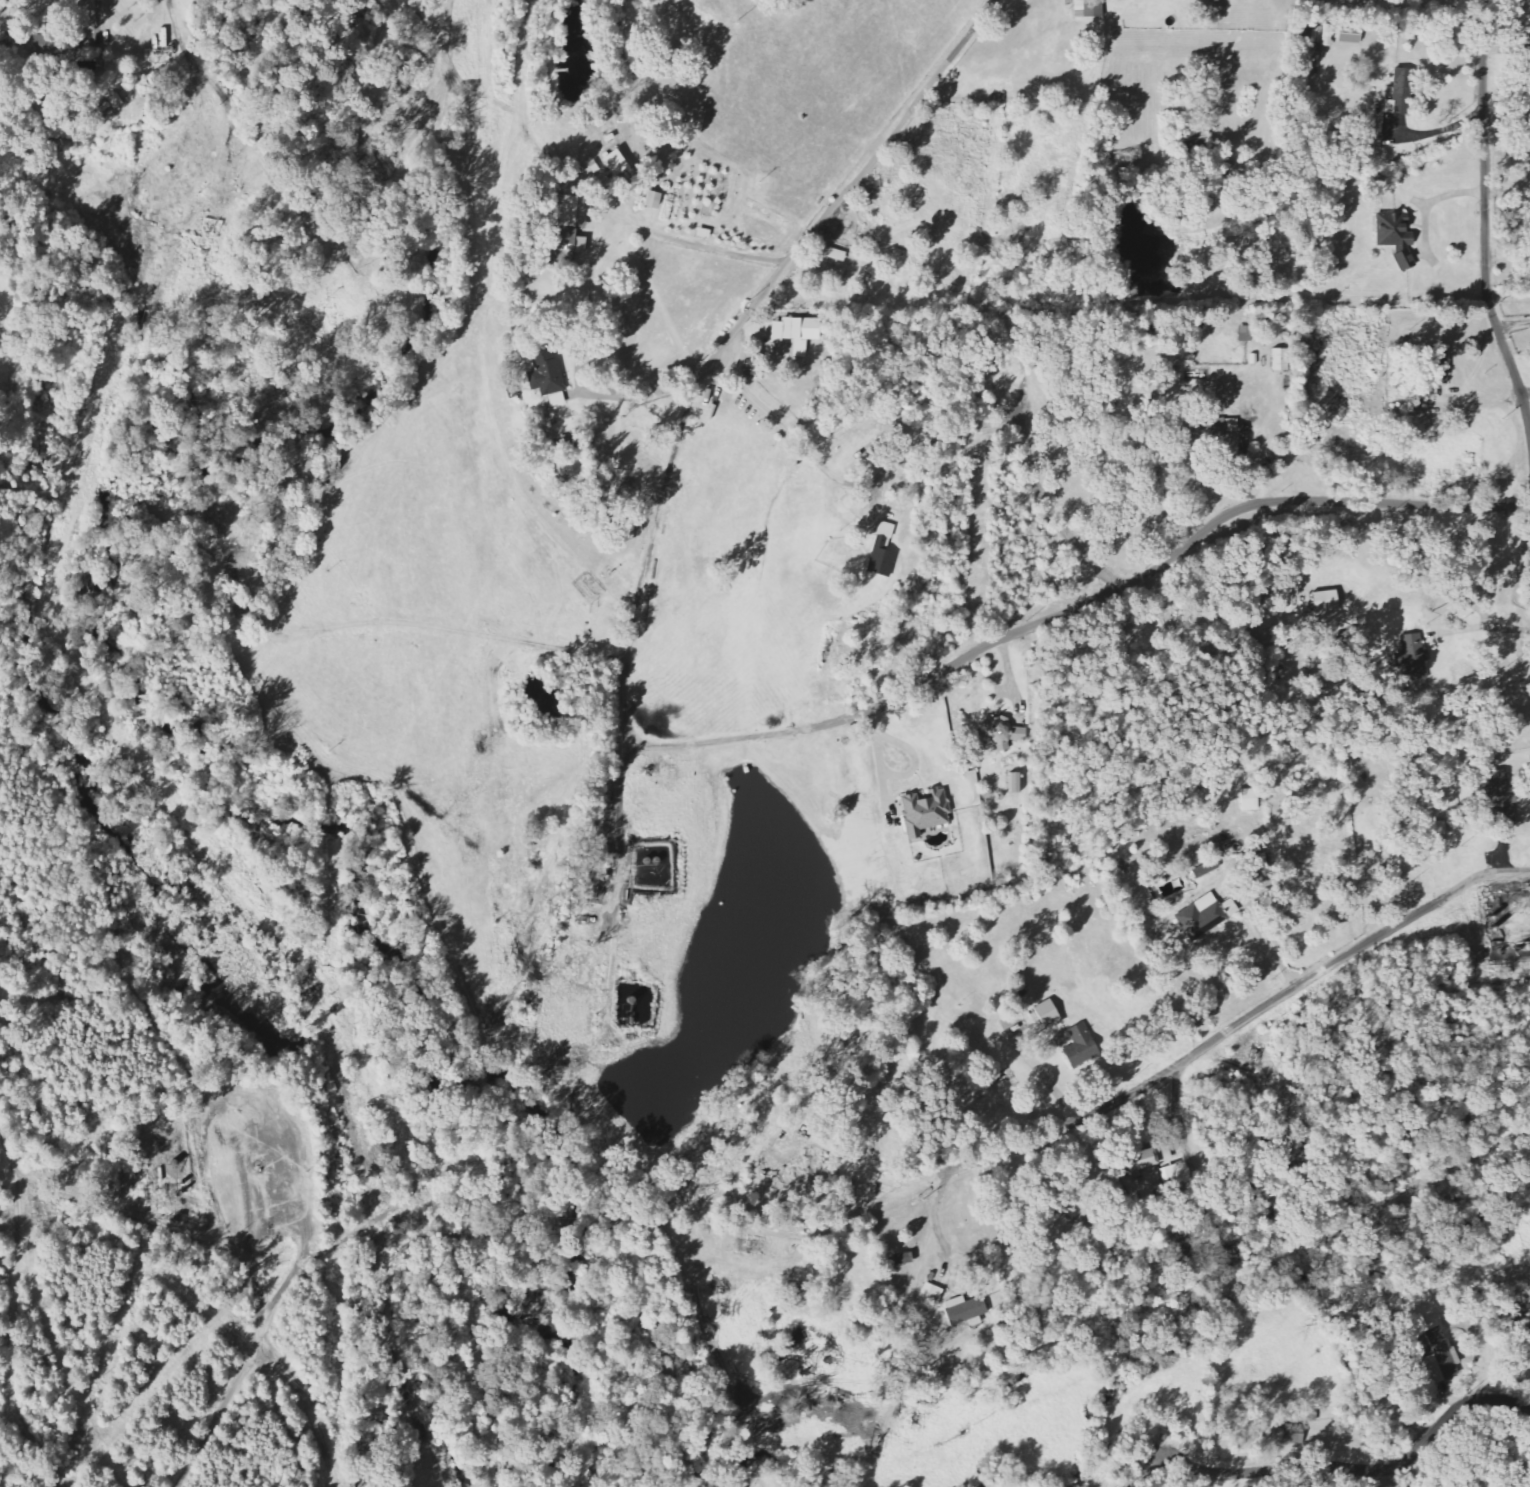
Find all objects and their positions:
building: (1077, 0)
building: (1091, 9)
building: (1307, 31)
building: (1324, 35)
building: (1352, 35)
building: (46, 45)
building: (1403, 94)
building: (113, 104)
building: (57, 129)
road: (262, 149)
road: (876, 154)
building: (655, 201)
building: (571, 212)
road: (1484, 218)
building: (1398, 238)
building: (576, 248)
road: (1512, 321)
building: (798, 333)
building: (1282, 360)
building: (1440, 365)
building: (549, 375)
road: (683, 382)
road: (848, 424)
building: (1211, 430)
building: (884, 552)
road: (1160, 563)
building: (1328, 601)
building: (1414, 658)
road: (716, 739)
road: (618, 773)
building: (1018, 783)
building: (1503, 798)
building: (1251, 800)
building: (926, 812)
building: (1441, 828)
building: (1207, 870)
building: (1208, 915)
road: (1262, 936)
building: (1050, 1014)
road: (1241, 1021)
building: (1083, 1046)
building: (1144, 1159)
road: (861, 1205)
building: (967, 1310)
building: (1442, 1358)
road: (1389, 1467)
road: (1372, 1478)

